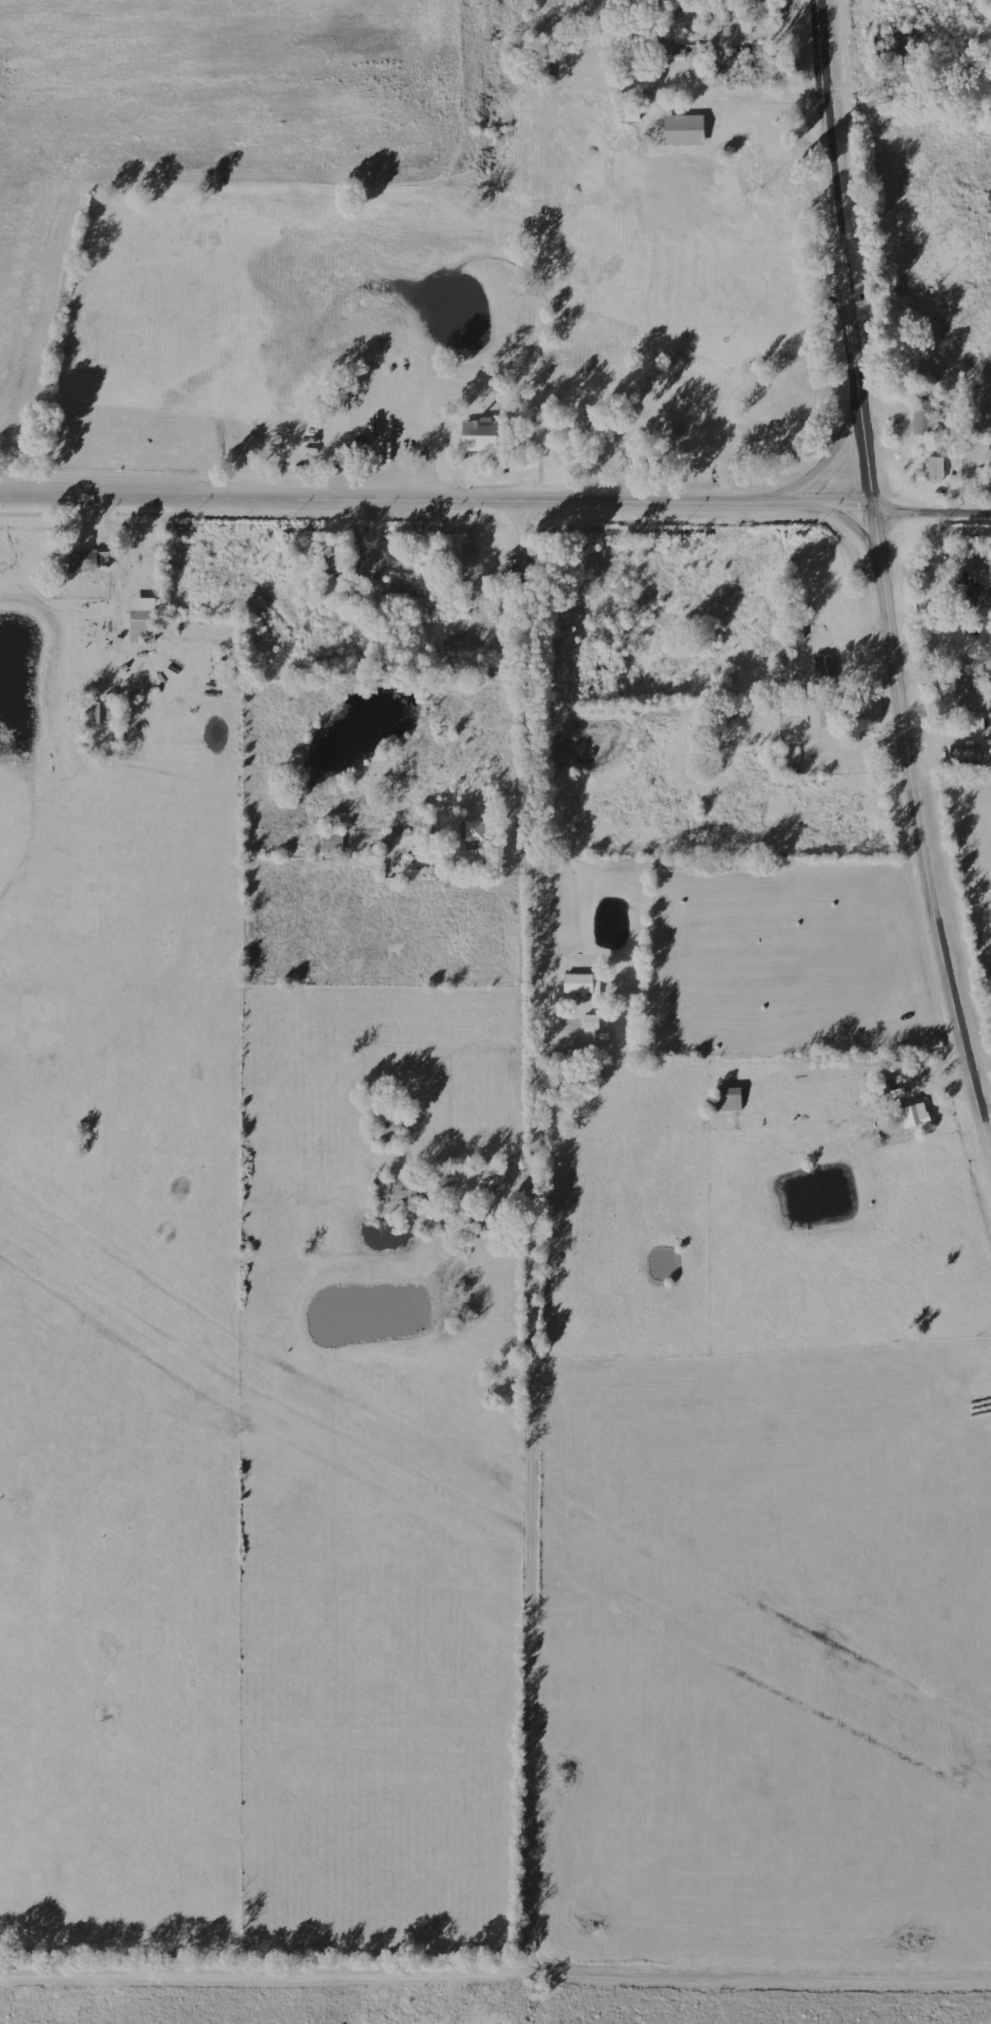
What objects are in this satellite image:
building: (671, 51)
building: (684, 130)
building: (479, 435)
road: (833, 453)
building: (934, 469)
road: (435, 504)
road: (930, 514)
building: (459, 549)
building: (91, 559)
building: (977, 561)
building: (378, 567)
road: (881, 570)
building: (143, 620)
building: (967, 694)
building: (101, 713)
building: (475, 835)
building: (582, 985)
building: (591, 1024)
building: (729, 1099)
building: (390, 1188)
road: (540, 1239)
road: (495, 1977)

